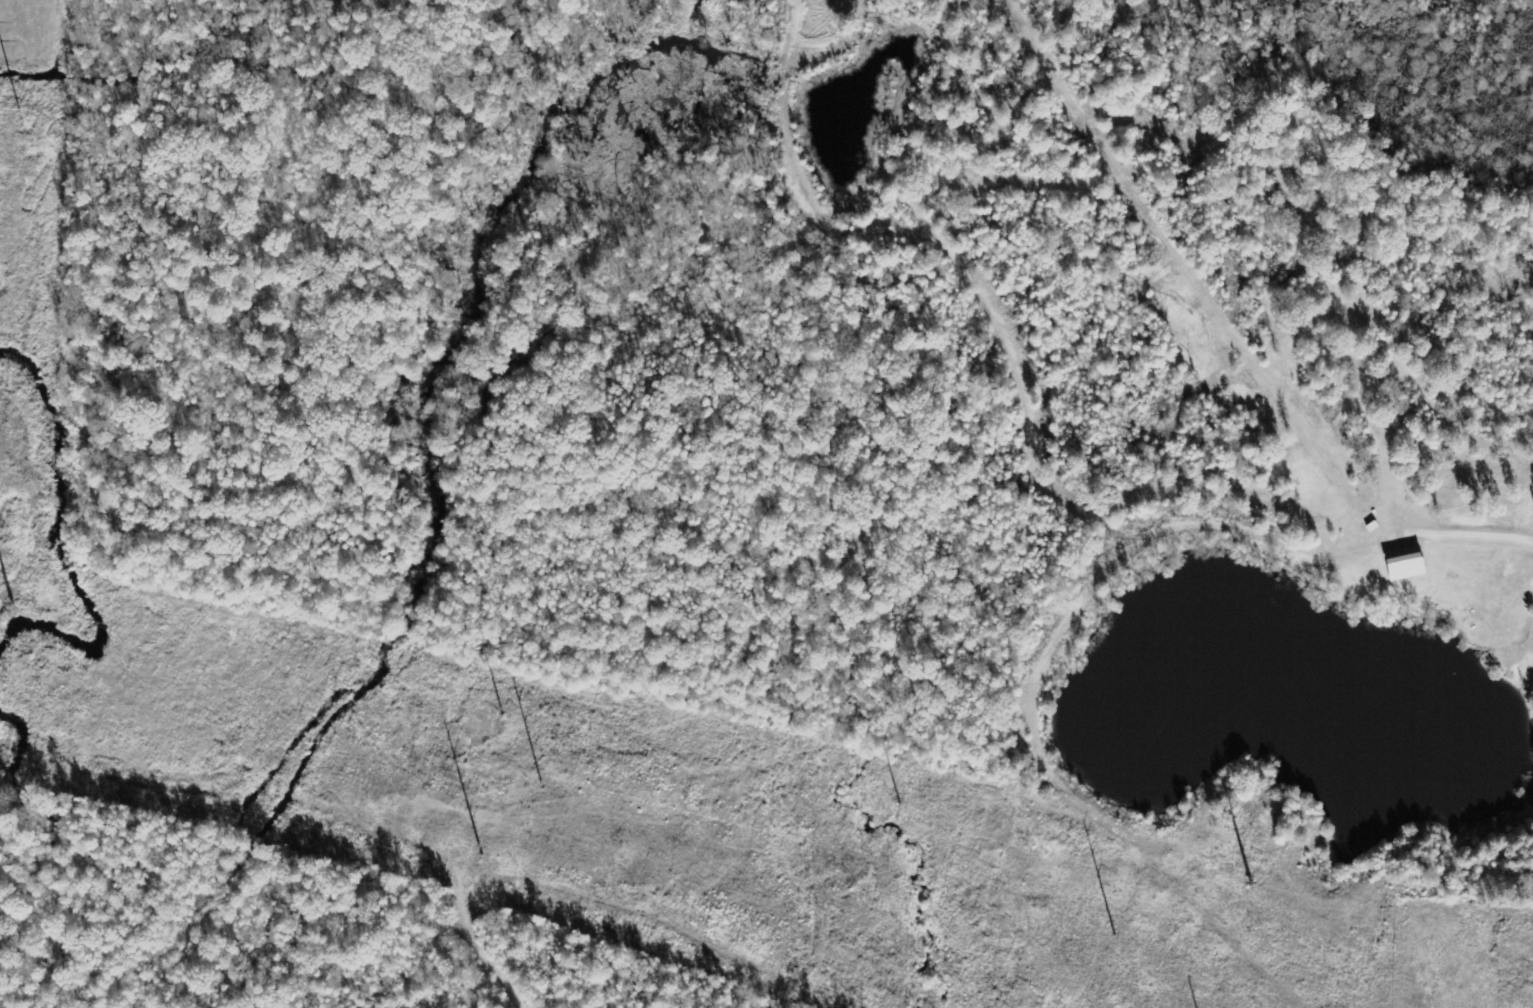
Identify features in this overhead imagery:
power tower: (27, 105)
building: (1406, 567)
power tower: (26, 594)
power tower: (506, 708)
power tower: (552, 785)
power tower: (913, 801)
power tower: (496, 845)
power tower: (1257, 872)
power tower: (1124, 926)

